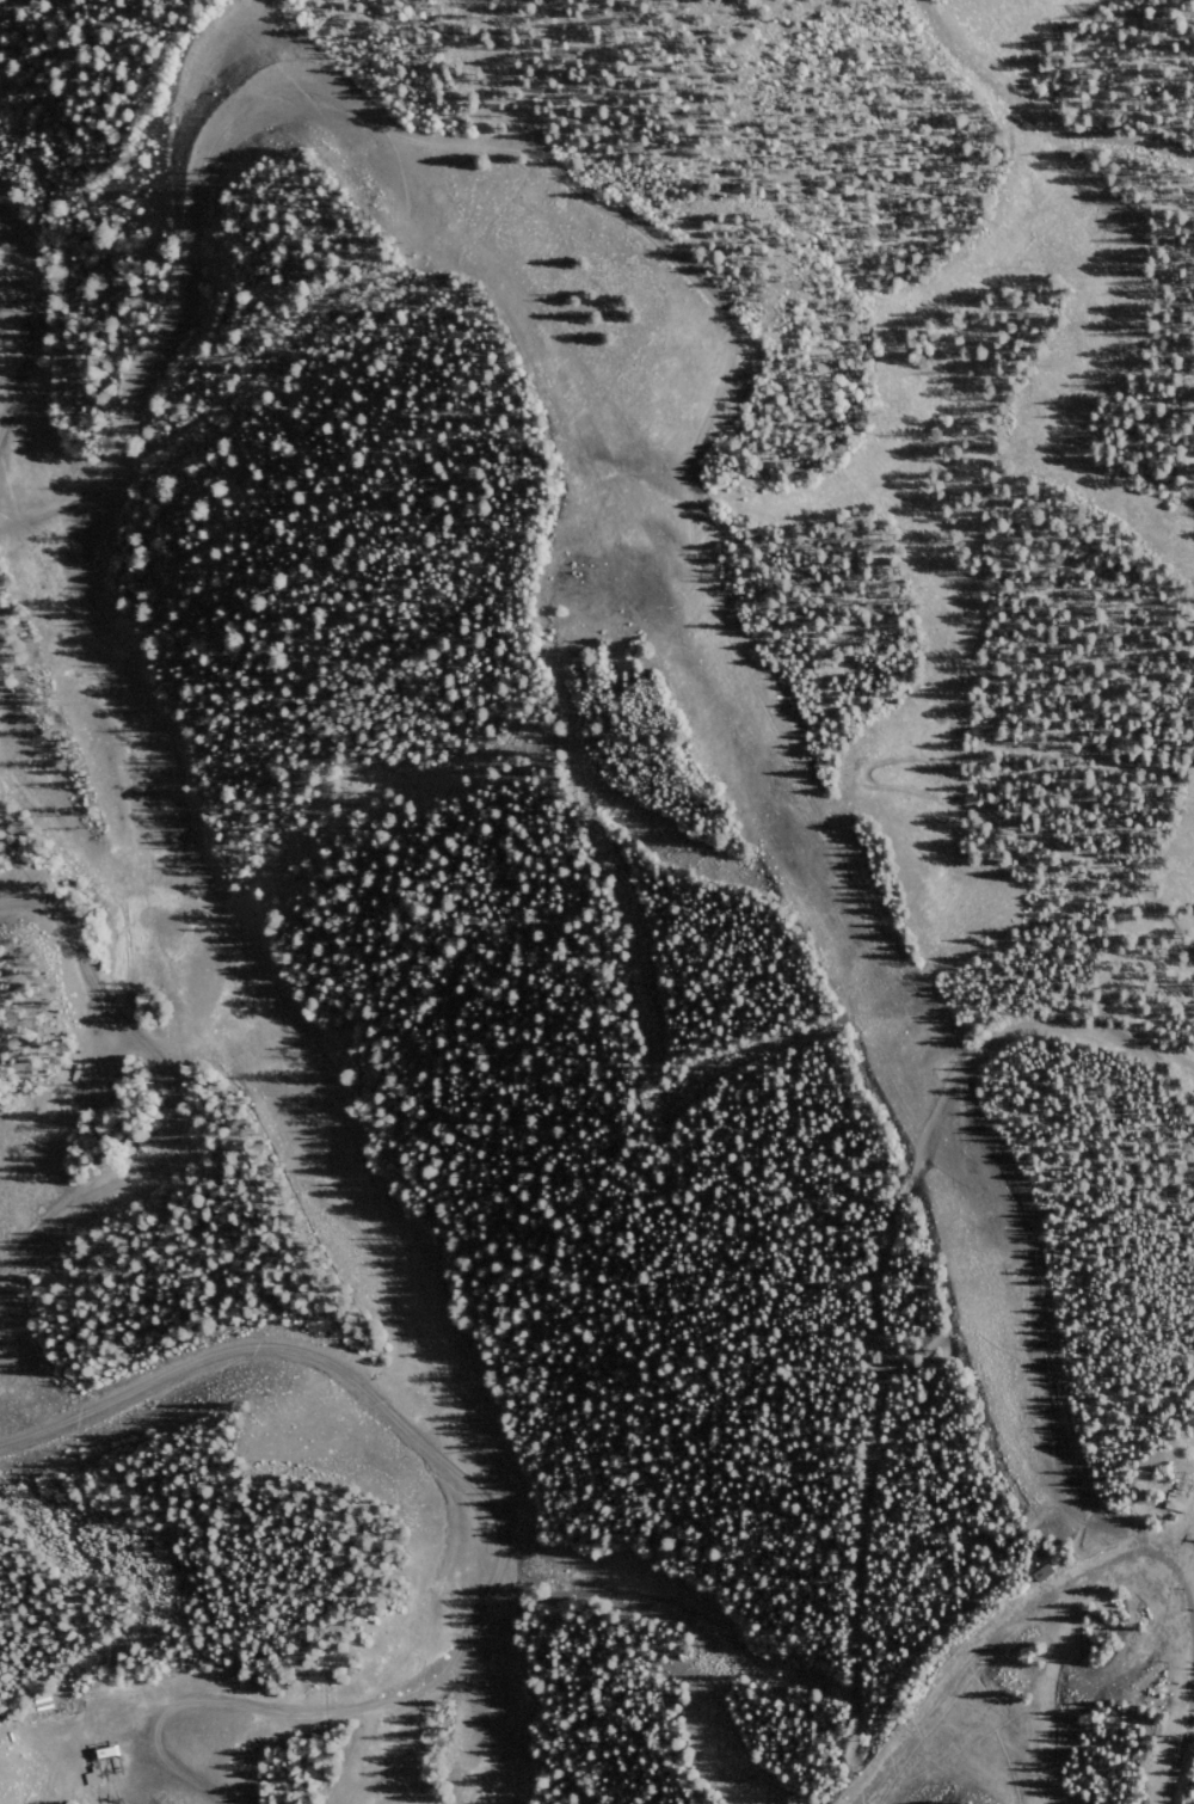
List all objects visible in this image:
road: (491, 57)
road: (1150, 165)
road: (638, 225)
road: (27, 312)
road: (16, 385)
road: (521, 742)
road: (898, 754)
ski resort: (597, 902)
road: (1175, 908)
road: (1177, 955)
road: (620, 976)
road: (173, 1086)
road: (878, 1294)
road: (1044, 1338)
building: (1177, 1501)
road: (485, 1517)
building: (1045, 1573)
road: (1128, 1581)
road: (1051, 1688)
road: (948, 1696)
road: (1003, 1726)
aerialway pylon: (1183, 1737)
building: (93, 1772)
road: (1051, 1791)
aerialway pylon: (122, 1798)

